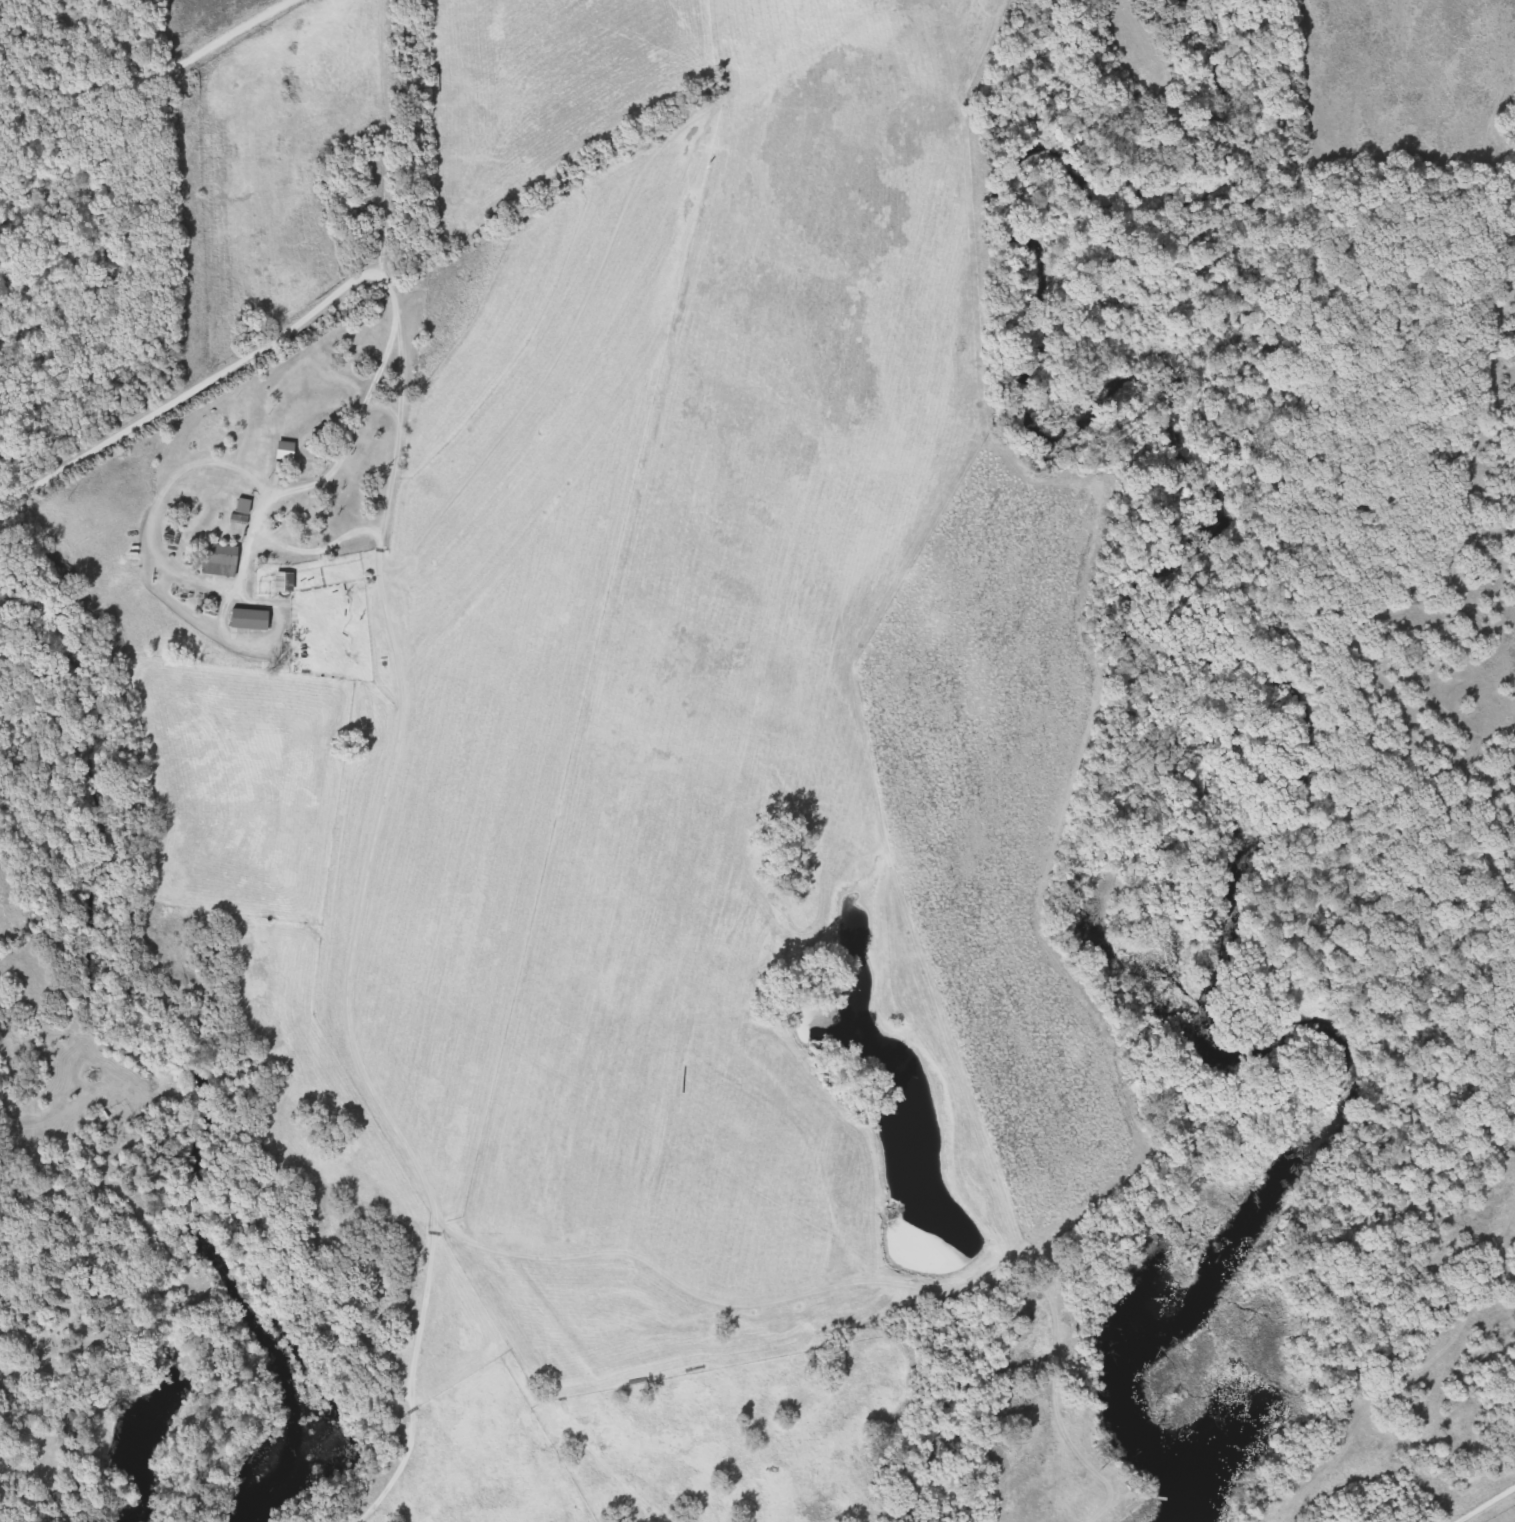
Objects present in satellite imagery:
road: (148, 76)
road: (196, 388)
road: (387, 406)
building: (290, 450)
road: (327, 478)
road: (320, 547)
building: (224, 560)
building: (255, 619)
road: (357, 931)
road: (1476, 1498)

